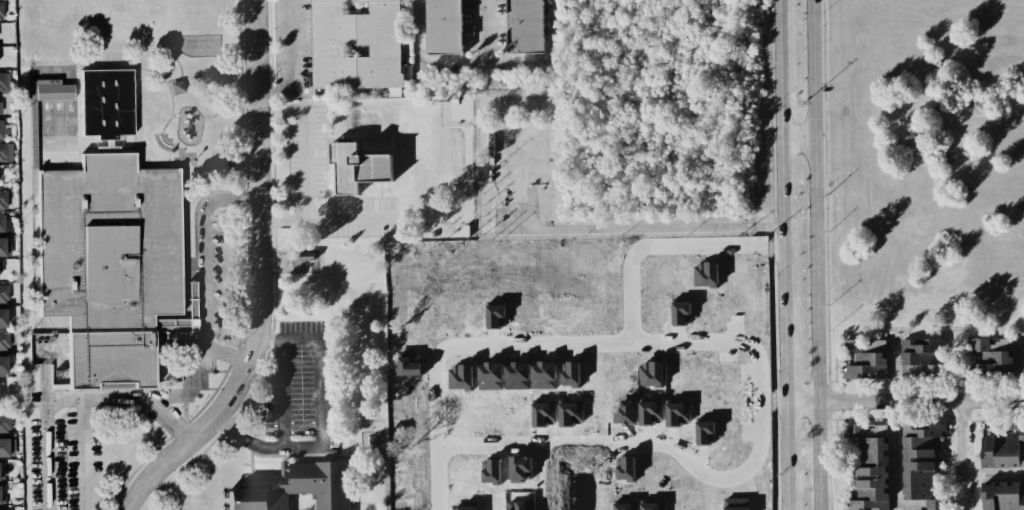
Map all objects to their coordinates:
building: (1, 10)
building: (525, 26)
building: (444, 27)
road: (419, 30)
road: (485, 30)
road: (550, 30)
building: (356, 43)
road: (485, 60)
road: (292, 61)
building: (4, 81)
building: (48, 91)
building: (0, 108)
building: (1, 129)
building: (5, 152)
crop: (928, 163)
road: (306, 165)
road: (780, 165)
building: (357, 167)
building: (3, 199)
road: (428, 218)
building: (5, 223)
building: (108, 241)
building: (1, 247)
road: (813, 255)
building: (303, 262)
road: (206, 269)
building: (705, 273)
road: (260, 278)
building: (3, 294)
building: (681, 313)
building: (2, 317)
road: (271, 337)
building: (4, 341)
building: (992, 355)
building: (923, 357)
building: (865, 359)
building: (3, 365)
road: (785, 366)
building: (570, 374)
building: (651, 374)
building: (543, 375)
building: (490, 376)
building: (460, 377)
road: (148, 395)
road: (919, 401)
road: (770, 402)
road: (800, 402)
road: (322, 404)
building: (650, 412)
building: (571, 413)
building: (624, 413)
building: (678, 413)
building: (544, 414)
building: (4, 424)
building: (875, 431)
building: (705, 432)
road: (49, 436)
road: (246, 439)
building: (3, 447)
building: (999, 451)
building: (1021, 451)
road: (87, 454)
road: (961, 454)
road: (786, 456)
road: (891, 456)
road: (689, 464)
building: (920, 466)
building: (520, 468)
building: (625, 468)
building: (491, 471)
building: (868, 472)
road: (993, 473)
road: (435, 477)
road: (543, 477)
building: (294, 487)
building: (1002, 496)
building: (2, 499)
building: (736, 503)
building: (519, 506)
building: (626, 506)
building: (652, 506)
building: (463, 507)
building: (3, 509)

